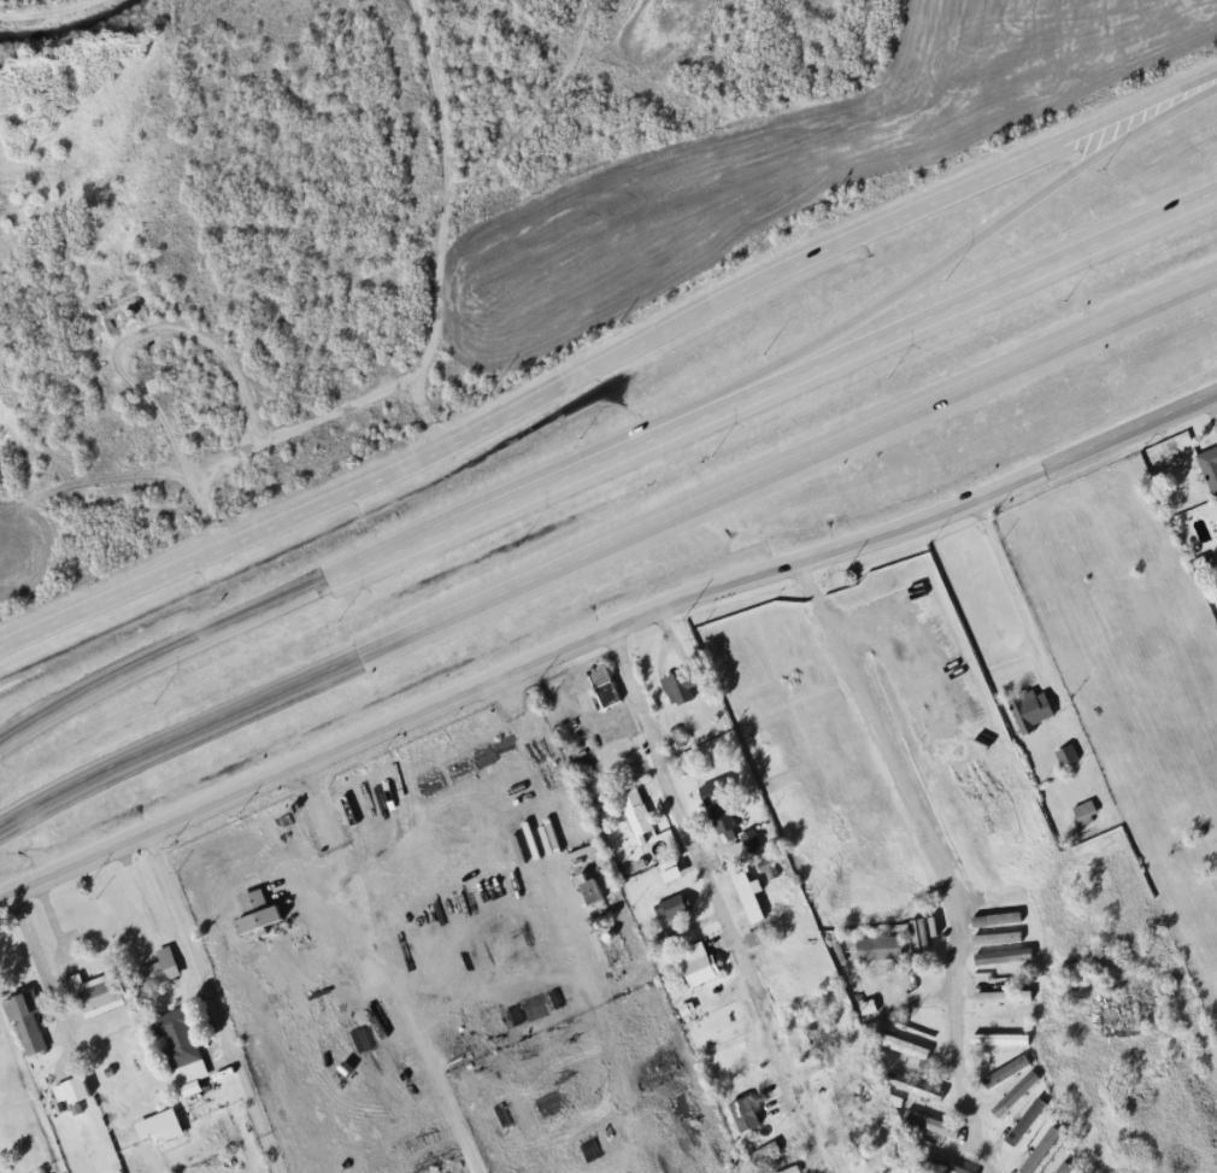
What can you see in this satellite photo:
road: (923, 272)
road: (607, 359)
building: (1211, 456)
road: (604, 462)
road: (606, 549)
road: (1010, 585)
road: (678, 602)
building: (601, 686)
building: (678, 687)
building: (1031, 702)
building: (1066, 747)
building: (716, 804)
building: (1086, 805)
building: (635, 813)
building: (751, 841)
road: (939, 852)
road: (75, 862)
building: (588, 891)
building: (747, 896)
road: (717, 901)
building: (669, 908)
building: (261, 914)
building: (877, 948)
building: (694, 963)
building: (160, 969)
road: (381, 969)
building: (96, 993)
building: (1000, 997)
road: (216, 1001)
building: (29, 1024)
building: (1004, 1037)
building: (819, 1038)
building: (899, 1045)
building: (183, 1046)
building: (1004, 1073)
building: (913, 1086)
building: (851, 1091)
building: (75, 1092)
building: (1012, 1095)
building: (741, 1115)
building: (1024, 1122)
building: (929, 1124)
building: (164, 1128)
building: (1039, 1151)
building: (762, 1153)
building: (877, 1160)
building: (939, 1165)
building: (1063, 1168)
building: (789, 1169)

